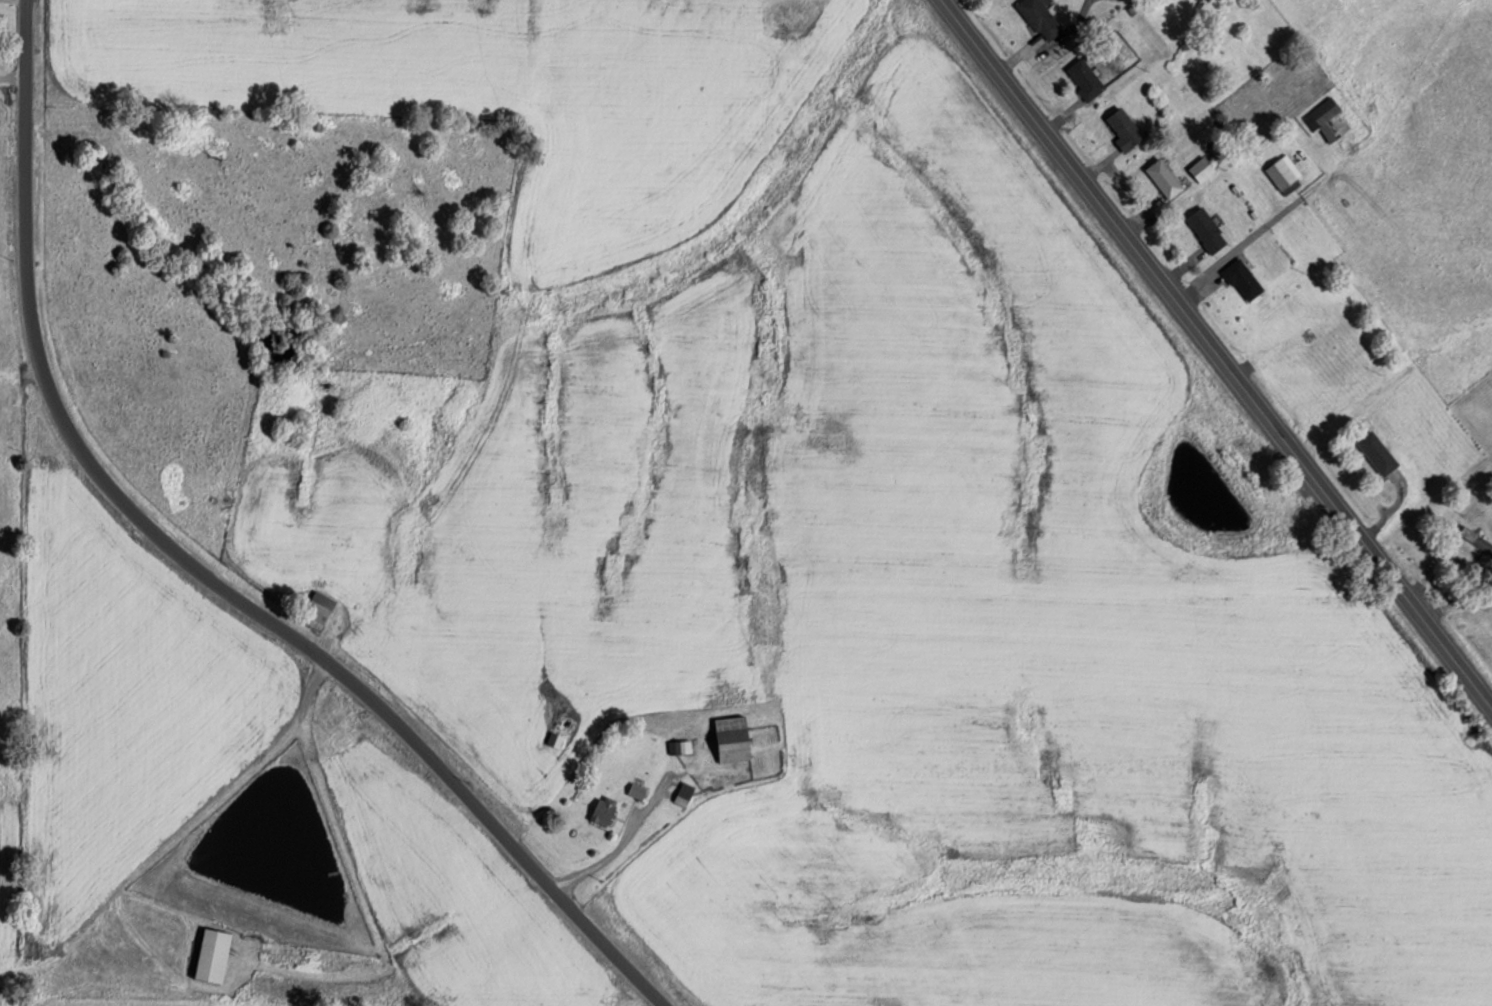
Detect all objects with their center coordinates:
building: (1041, 18)
building: (1085, 78)
building: (1324, 117)
building: (1125, 130)
building: (1202, 168)
building: (1283, 173)
building: (1165, 177)
building: (1207, 230)
building: (1243, 279)
road: (1217, 351)
building: (1378, 452)
building: (1476, 539)
road: (200, 564)
building: (317, 610)
building: (555, 739)
building: (732, 739)
building: (636, 790)
building: (684, 794)
building: (603, 810)
building: (213, 955)

